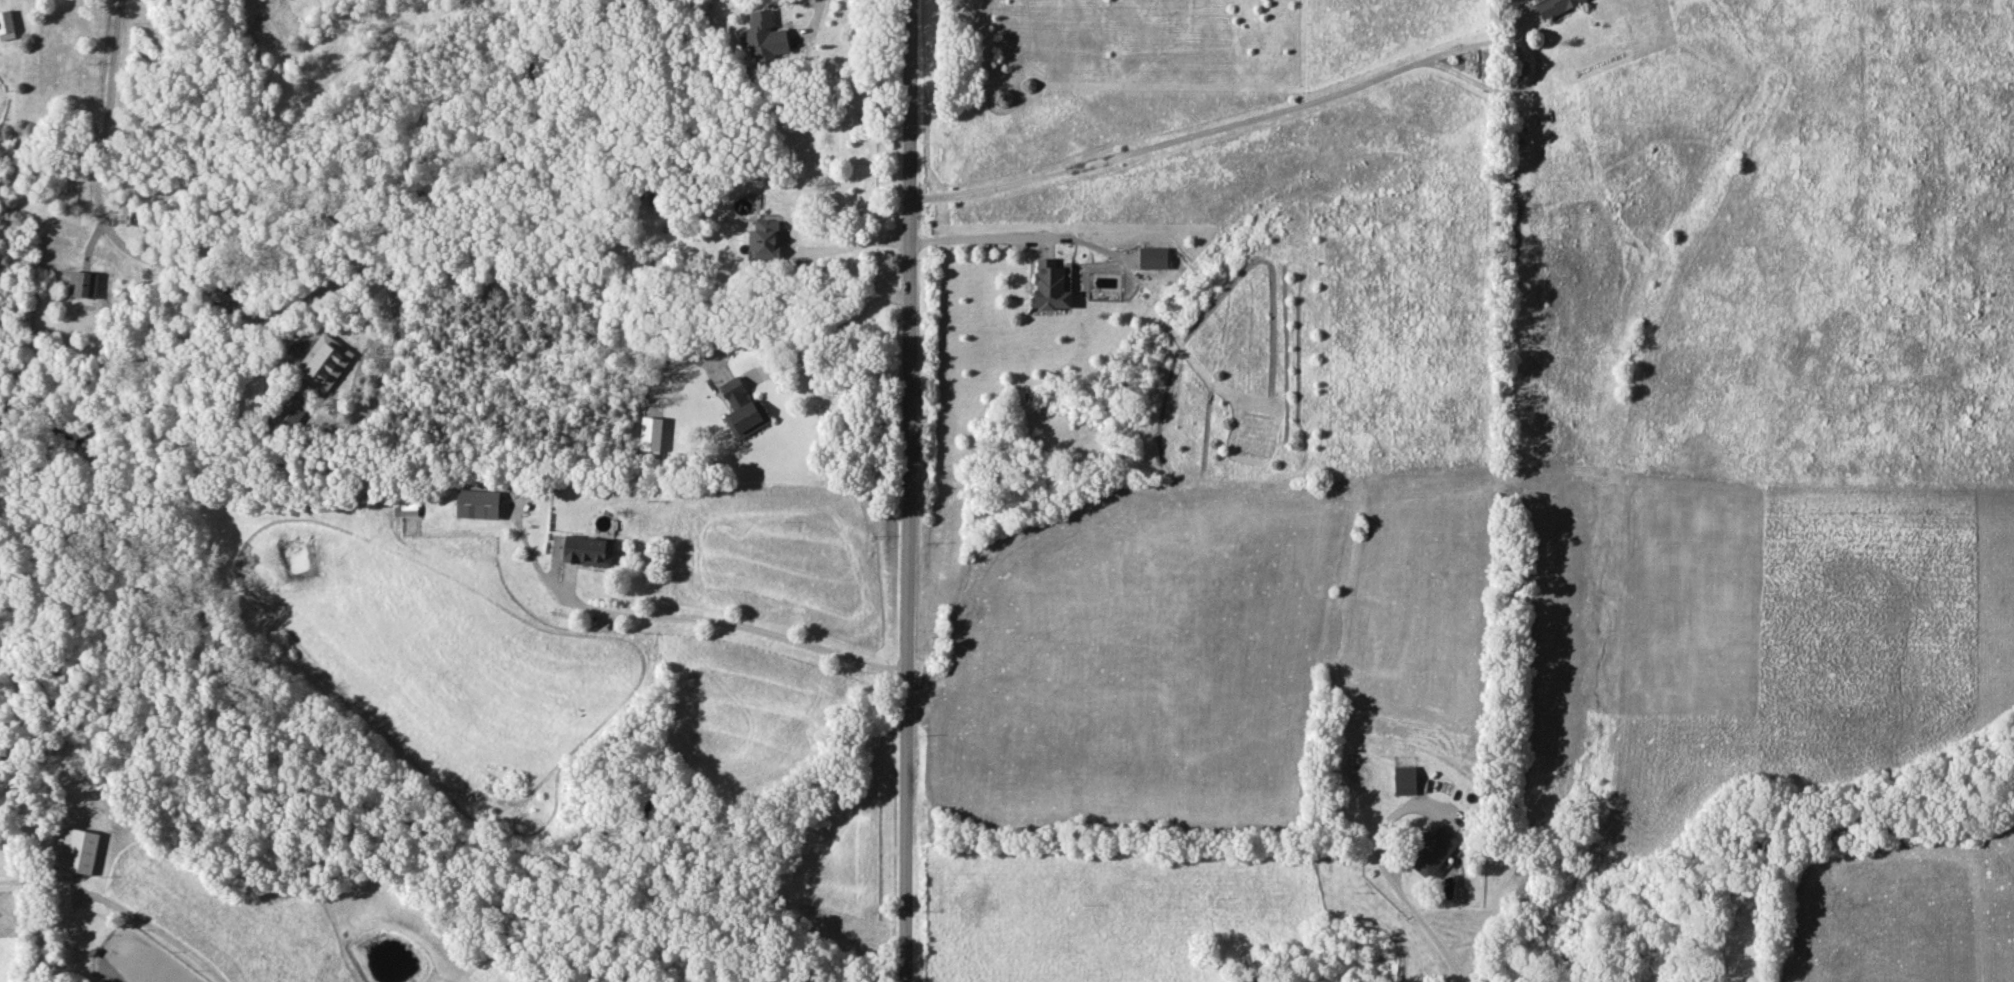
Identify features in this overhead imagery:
building: (1553, 6)
road: (815, 14)
building: (6, 25)
building: (764, 37)
road: (1299, 105)
road: (97, 201)
road: (976, 238)
building: (764, 239)
road: (855, 244)
building: (1152, 257)
building: (83, 284)
building: (1049, 285)
building: (219, 296)
road: (393, 298)
road: (843, 324)
building: (323, 362)
building: (742, 410)
building: (290, 412)
building: (650, 434)
road: (913, 491)
building: (476, 503)
building: (404, 507)
building: (587, 550)
road: (733, 622)
building: (1404, 780)
building: (75, 850)
building: (1432, 852)
road: (1394, 882)
road: (145, 924)

